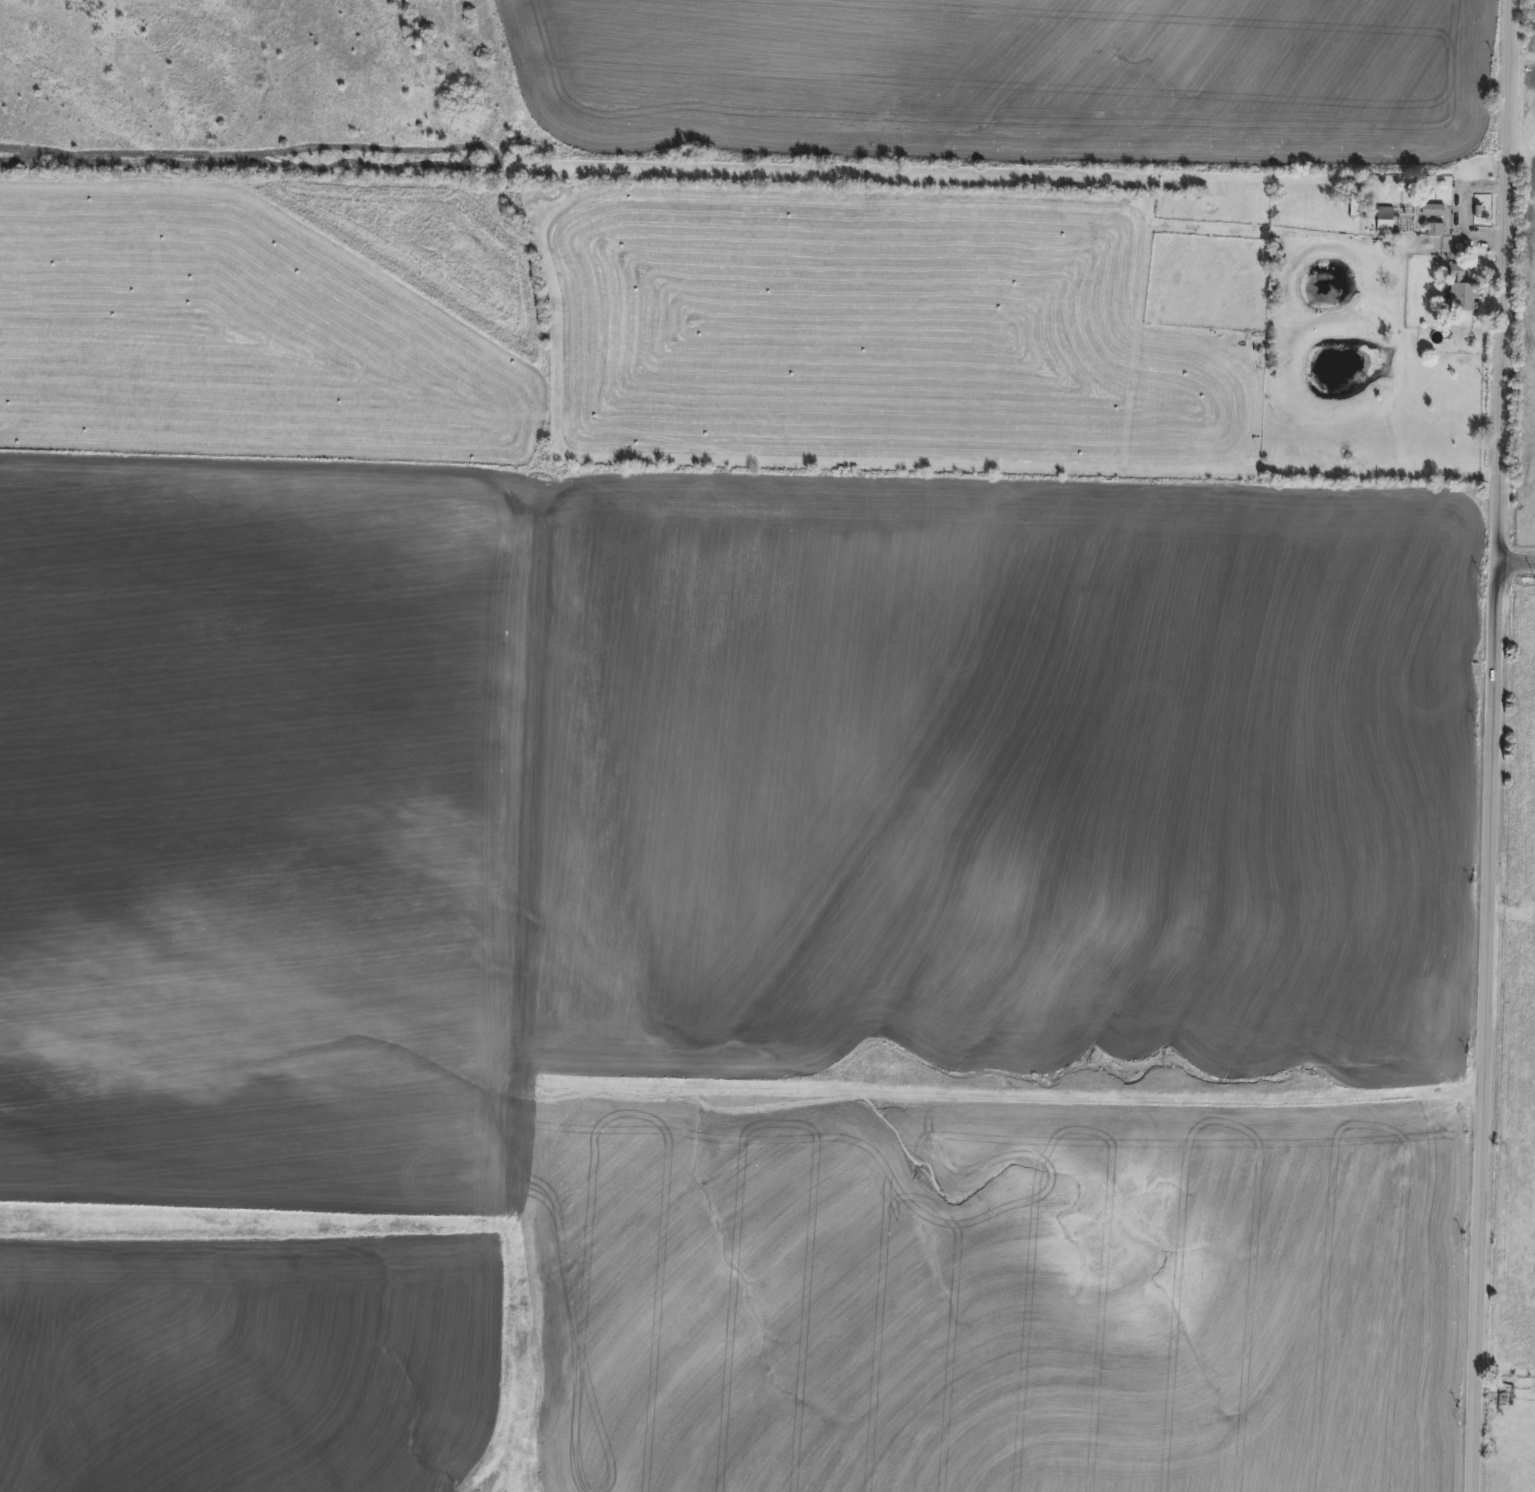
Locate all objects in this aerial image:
road: (1521, 57)
road: (1462, 208)
building: (1431, 213)
building: (1394, 220)
building: (1461, 297)
road: (1516, 559)
road: (1491, 746)

